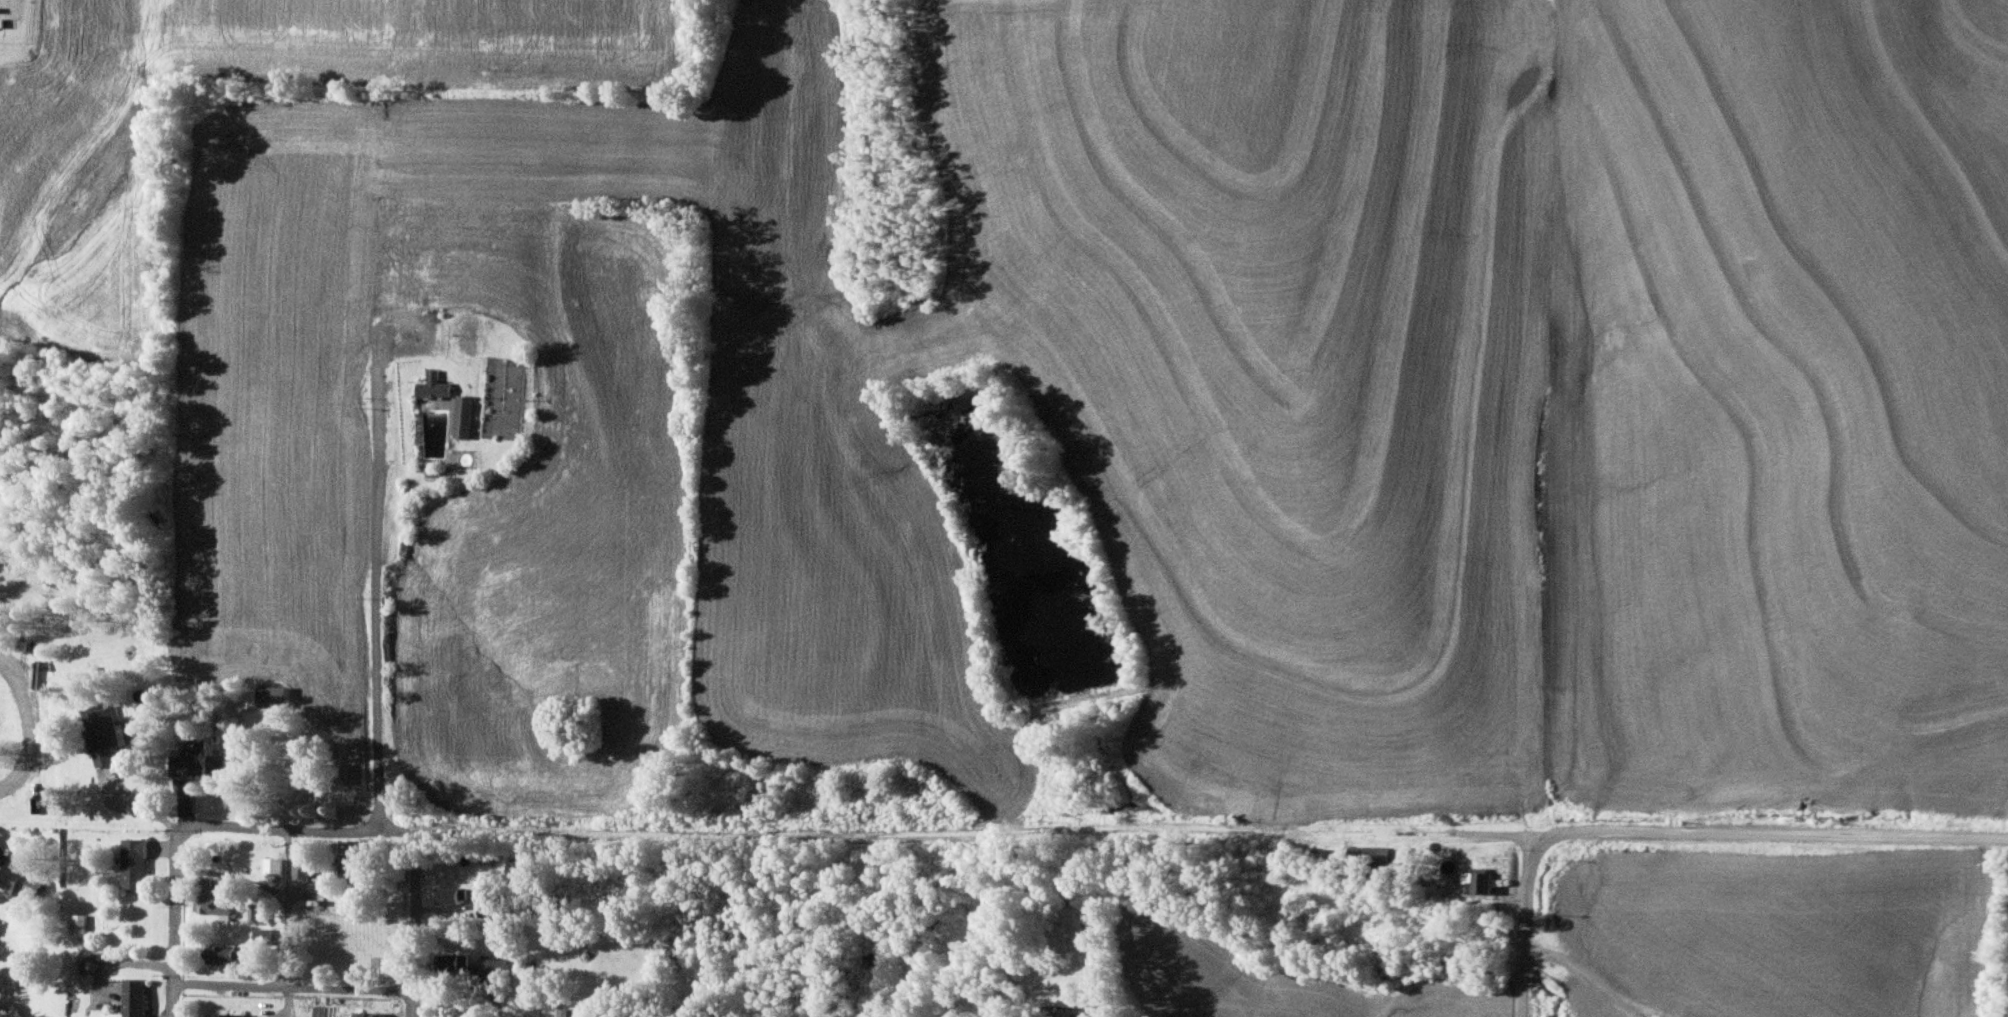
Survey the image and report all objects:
building: (434, 386)
building: (464, 416)
road: (383, 626)
building: (301, 695)
building: (266, 696)
building: (103, 732)
building: (199, 759)
road: (293, 769)
road: (860, 833)
road: (1567, 834)
road: (1800, 836)
building: (302, 851)
building: (1378, 852)
building: (135, 862)
building: (275, 864)
building: (526, 867)
building: (357, 868)
building: (304, 871)
building: (20, 878)
building: (1483, 878)
building: (453, 893)
building: (216, 897)
building: (490, 908)
building: (259, 912)
road: (292, 919)
road: (410, 921)
building: (79, 923)
road: (176, 923)
road: (1524, 925)
building: (264, 935)
building: (226, 953)
building: (457, 959)
building: (496, 966)
road: (1585, 976)
road: (439, 986)
building: (1056, 995)
building: (137, 997)
building: (1096, 1008)
building: (562, 1011)
road: (1056, 1011)
building: (369, 1013)
building: (229, 1014)

